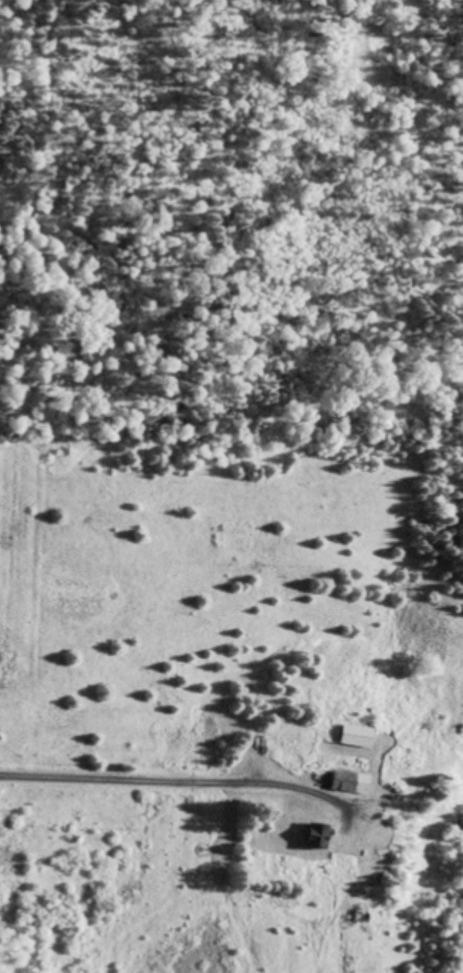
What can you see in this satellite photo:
building: (351, 738)
road: (152, 782)
building: (344, 783)
building: (308, 837)
building: (376, 862)

